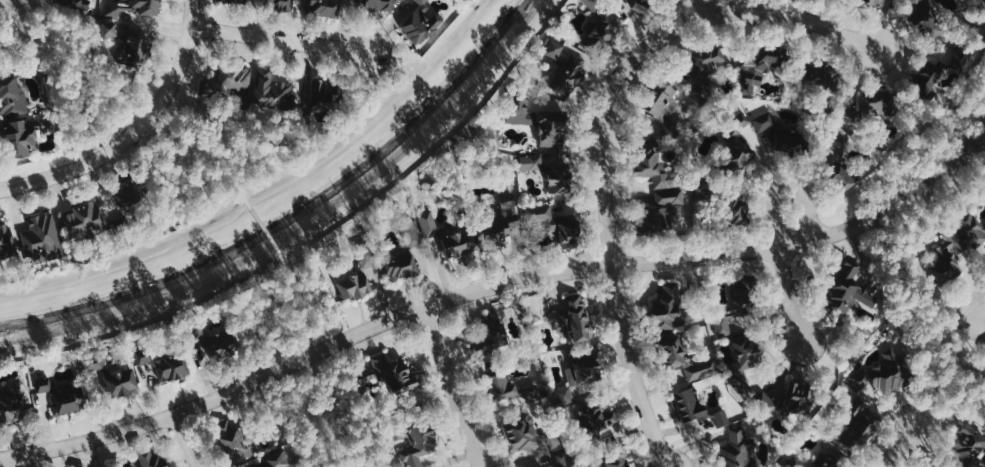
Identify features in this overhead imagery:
building: (235, 1)
building: (247, 1)
building: (873, 2)
building: (277, 4)
building: (375, 4)
building: (74, 5)
building: (640, 5)
road: (721, 5)
building: (145, 6)
road: (696, 6)
building: (322, 7)
road: (12, 15)
building: (111, 19)
building: (926, 20)
building: (420, 22)
building: (599, 24)
road: (280, 40)
building: (136, 52)
building: (766, 65)
building: (562, 69)
building: (935, 69)
building: (705, 70)
building: (813, 79)
building: (228, 85)
building: (12, 95)
building: (273, 95)
building: (324, 100)
road: (118, 101)
building: (661, 106)
building: (867, 107)
road: (380, 115)
building: (539, 120)
road: (135, 131)
road: (604, 131)
building: (784, 134)
building: (21, 136)
building: (736, 147)
building: (839, 162)
building: (651, 163)
building: (552, 173)
building: (720, 200)
building: (127, 207)
building: (659, 212)
road: (260, 218)
building: (493, 218)
road: (771, 220)
building: (84, 222)
building: (556, 222)
building: (972, 227)
road: (309, 229)
building: (447, 233)
building: (41, 238)
building: (6, 248)
building: (402, 255)
building: (940, 260)
road: (130, 262)
building: (357, 276)
road: (494, 285)
building: (846, 290)
building: (736, 303)
building: (665, 308)
road: (984, 311)
building: (573, 320)
road: (915, 328)
building: (492, 334)
building: (216, 339)
road: (948, 349)
building: (682, 355)
road: (305, 359)
building: (746, 360)
building: (162, 363)
building: (887, 371)
building: (580, 372)
building: (110, 373)
building: (391, 376)
road: (455, 386)
building: (506, 386)
road: (941, 391)
building: (61, 394)
building: (787, 399)
building: (12, 406)
building: (696, 406)
building: (592, 420)
building: (853, 427)
building: (526, 431)
building: (411, 439)
road: (187, 440)
building: (233, 440)
building: (968, 445)
road: (900, 446)
building: (735, 449)
building: (278, 457)
building: (149, 458)
building: (561, 458)
building: (612, 459)
building: (821, 459)
road: (19, 462)
building: (935, 465)
building: (83, 466)
building: (543, 466)

